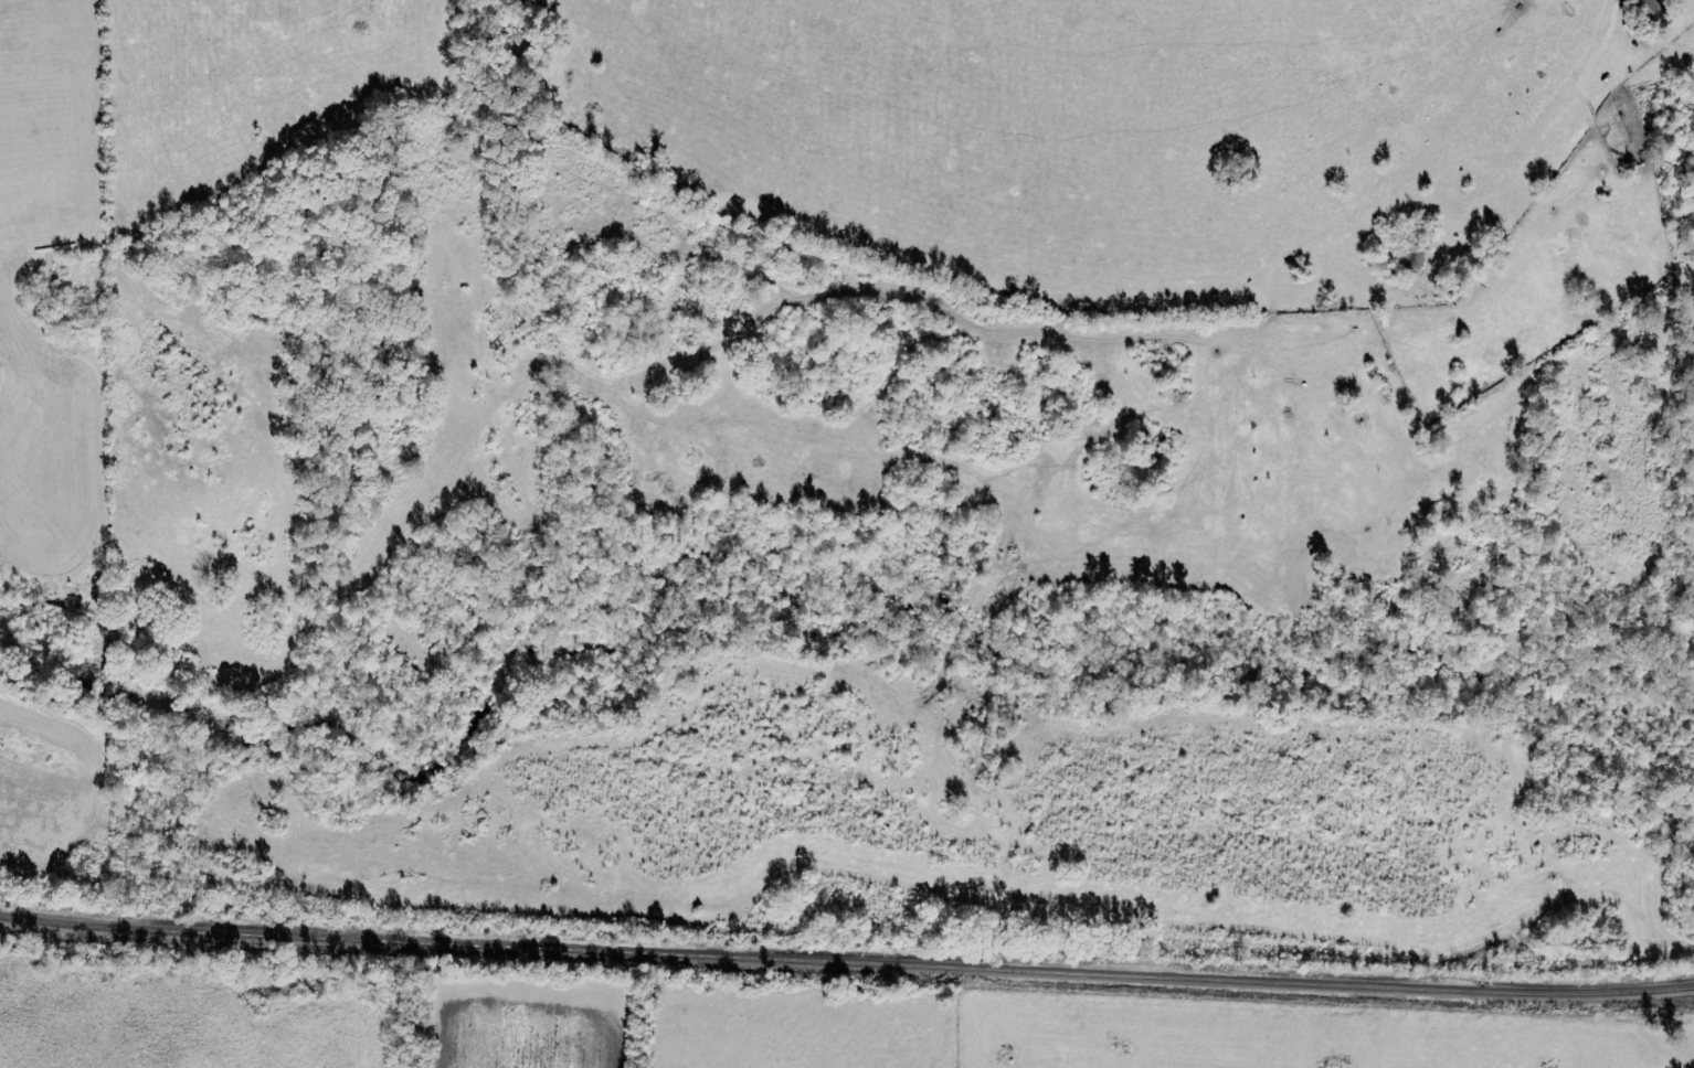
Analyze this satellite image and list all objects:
road: (1606, 42)
railway: (846, 963)

